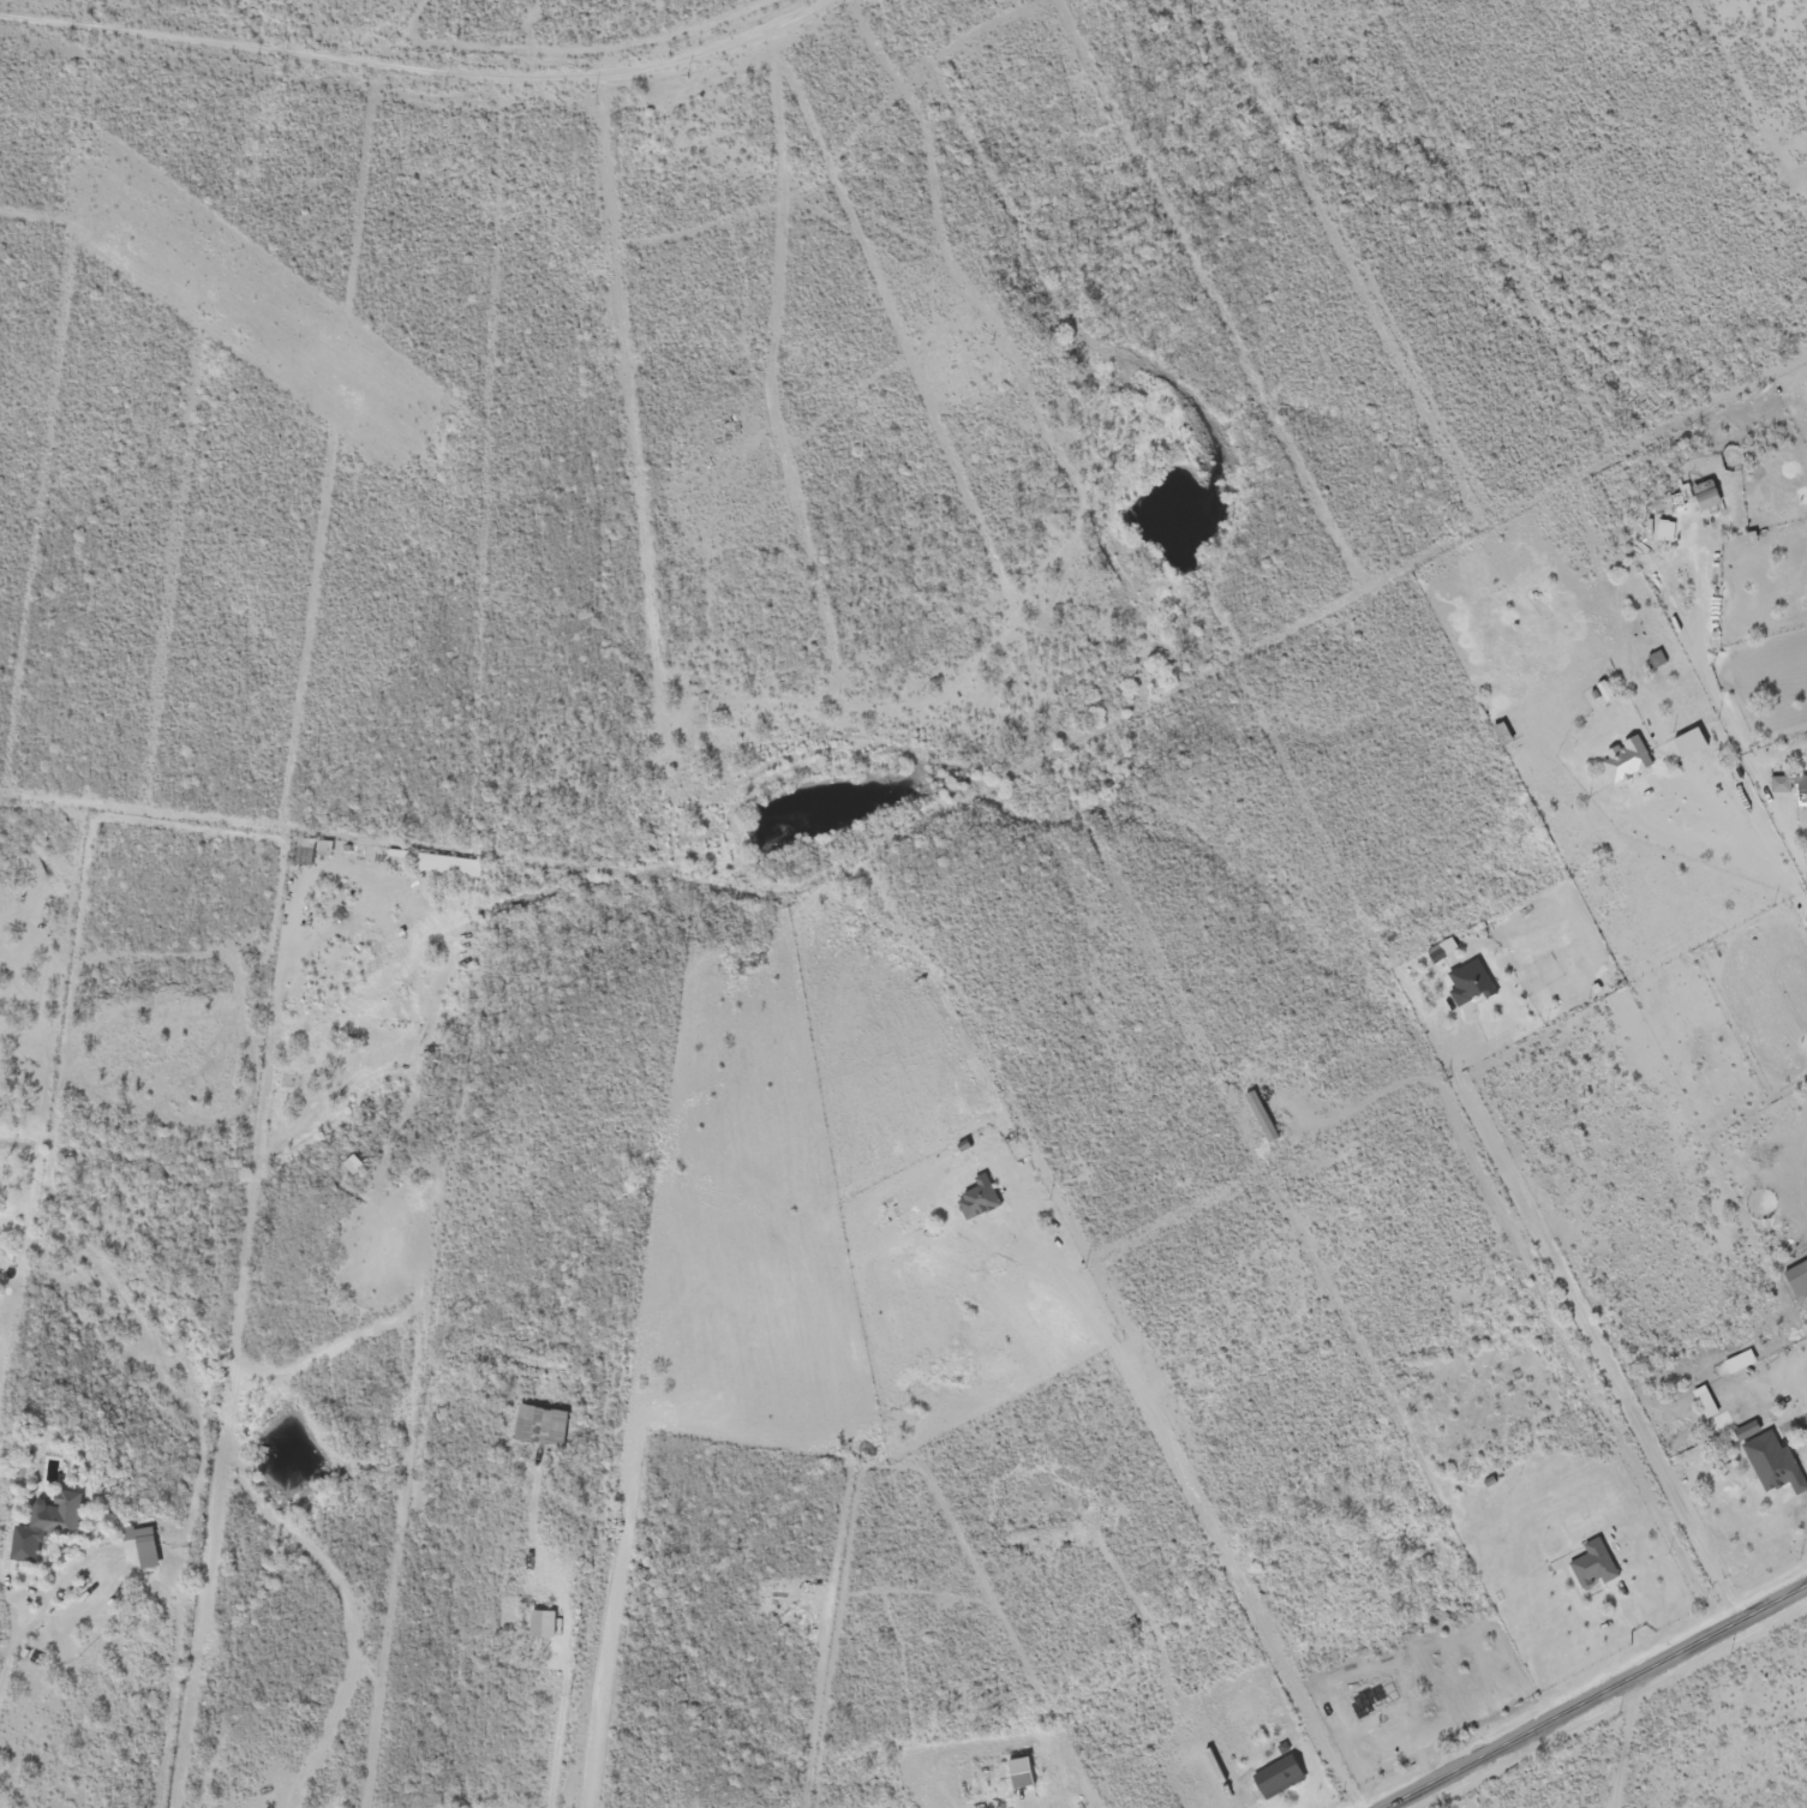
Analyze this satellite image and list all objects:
road: (1730, 119)
building: (1707, 490)
building: (1651, 520)
building: (1629, 760)
building: (1791, 782)
building: (323, 843)
building: (301, 845)
building: (415, 856)
building: (1471, 977)
building: (1263, 1112)
building: (980, 1195)
building: (1799, 1275)
building: (1740, 1357)
building: (541, 1420)
building: (1767, 1450)
building: (62, 1510)
building: (148, 1541)
building: (1596, 1562)
building: (540, 1624)
road: (16, 1633)
road: (1599, 1698)
building: (1281, 1772)

